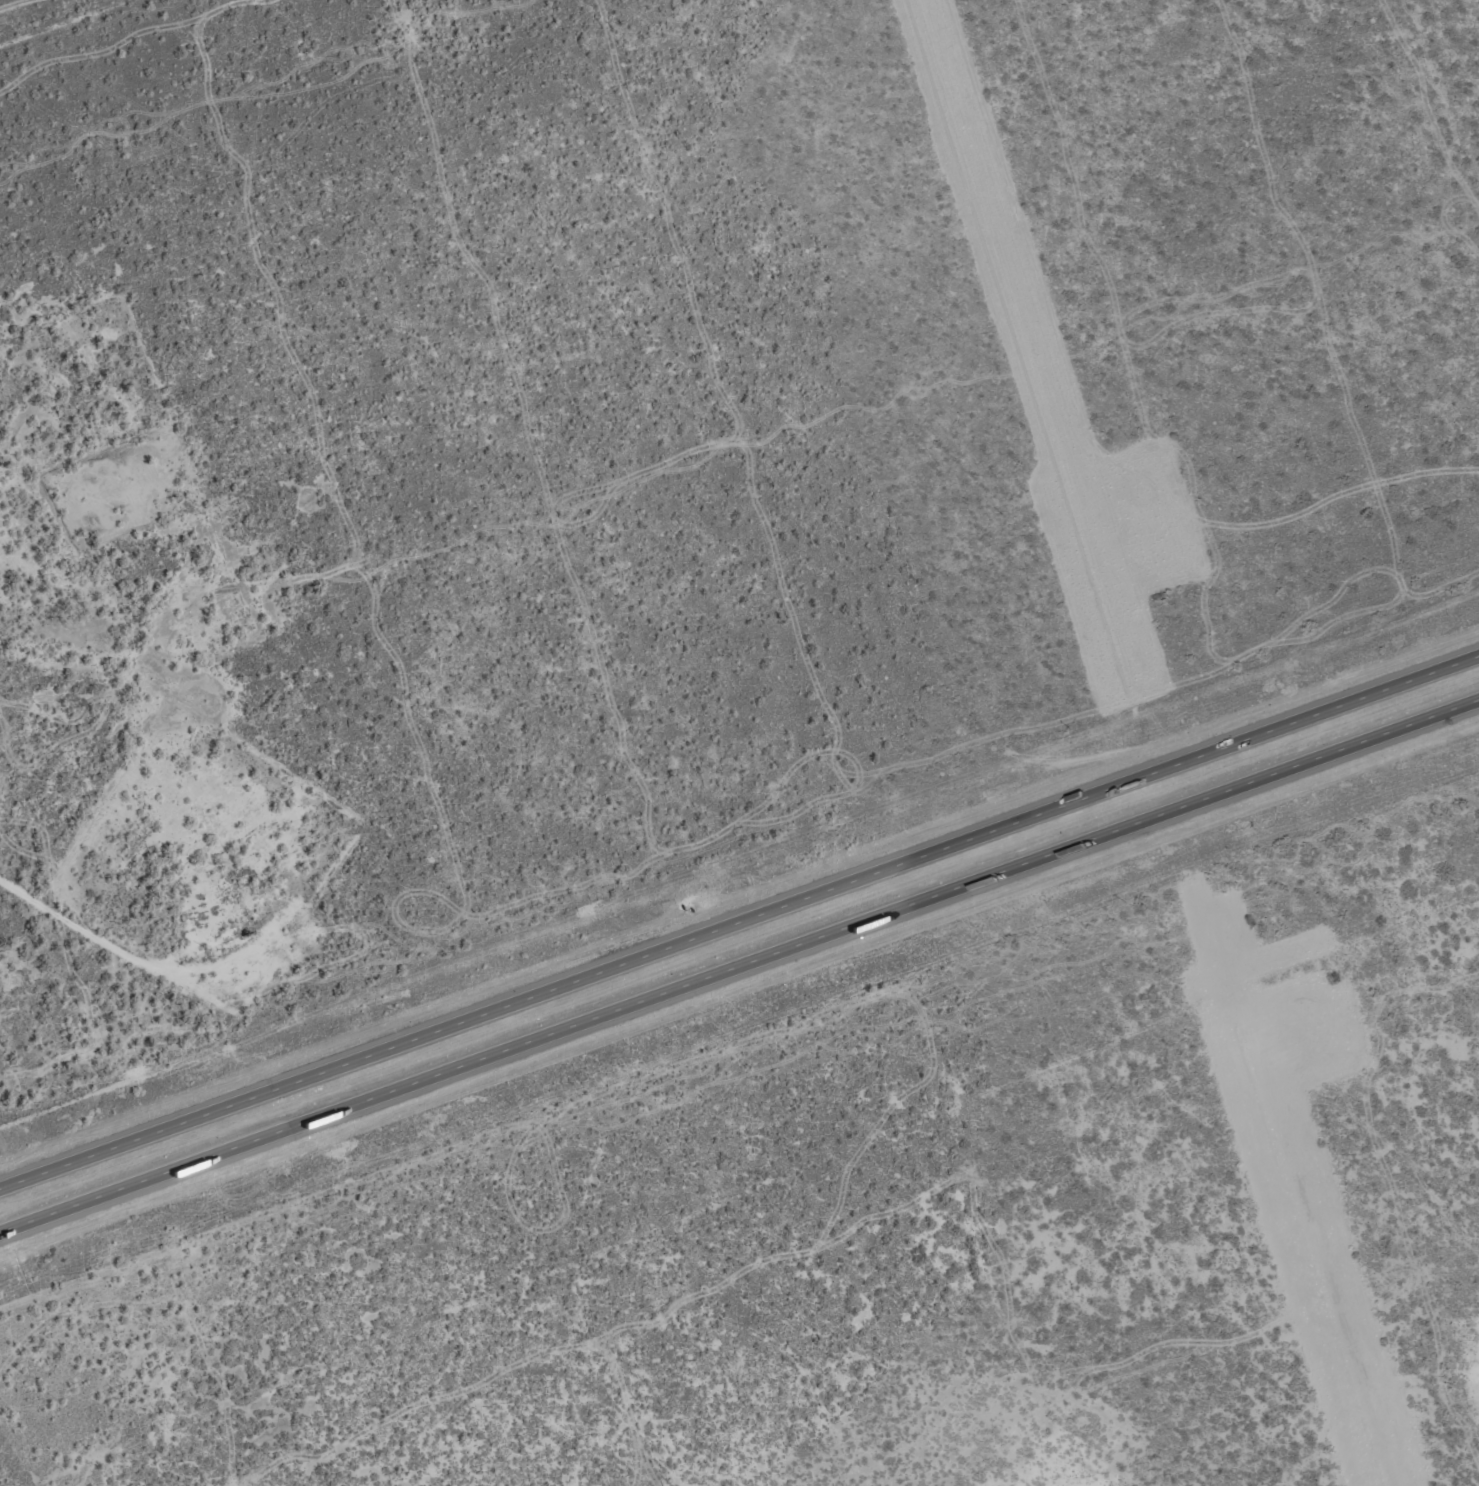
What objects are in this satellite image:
road: (106, 36)
road: (739, 922)
road: (739, 964)

